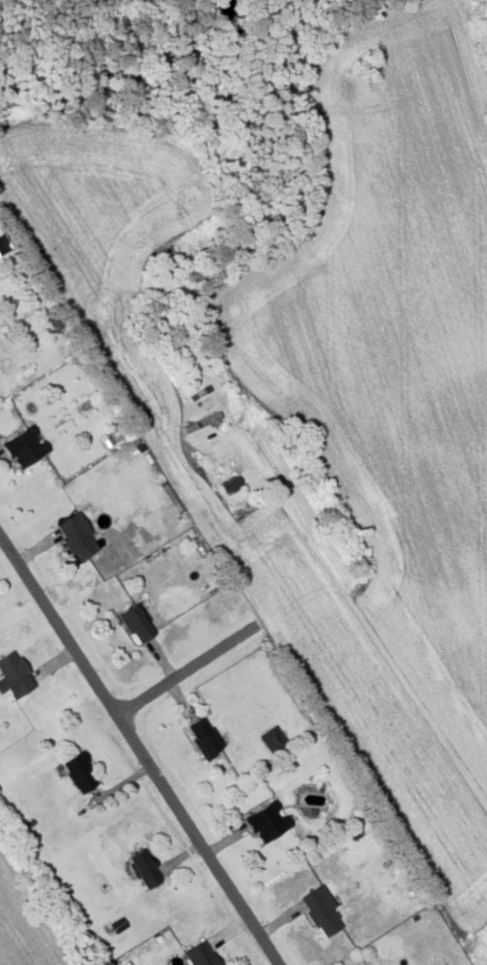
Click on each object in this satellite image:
building: (3, 245)
building: (201, 422)
building: (25, 446)
building: (231, 484)
building: (77, 536)
building: (137, 622)
road: (198, 669)
building: (14, 675)
building: (204, 736)
building: (273, 739)
road: (139, 750)
building: (78, 772)
building: (267, 822)
building: (144, 868)
building: (320, 909)
building: (117, 924)
building: (200, 954)

